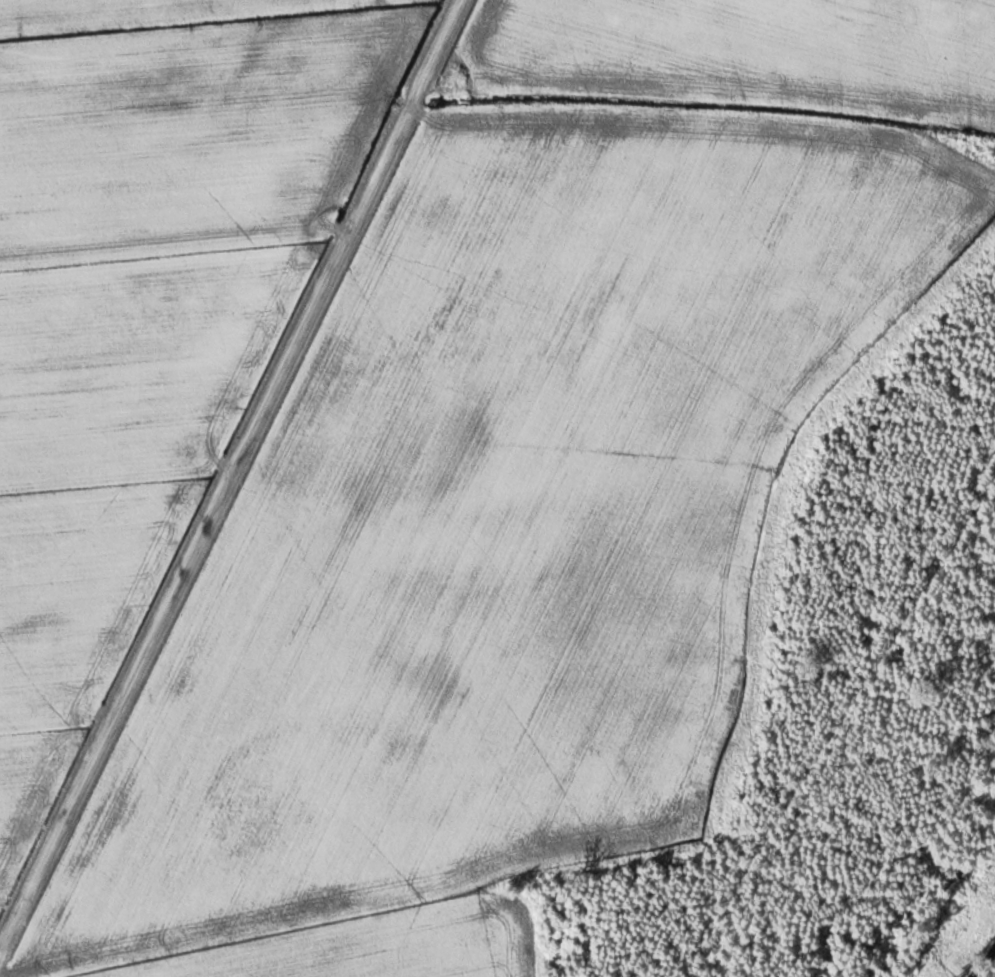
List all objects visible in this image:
road: (231, 479)

